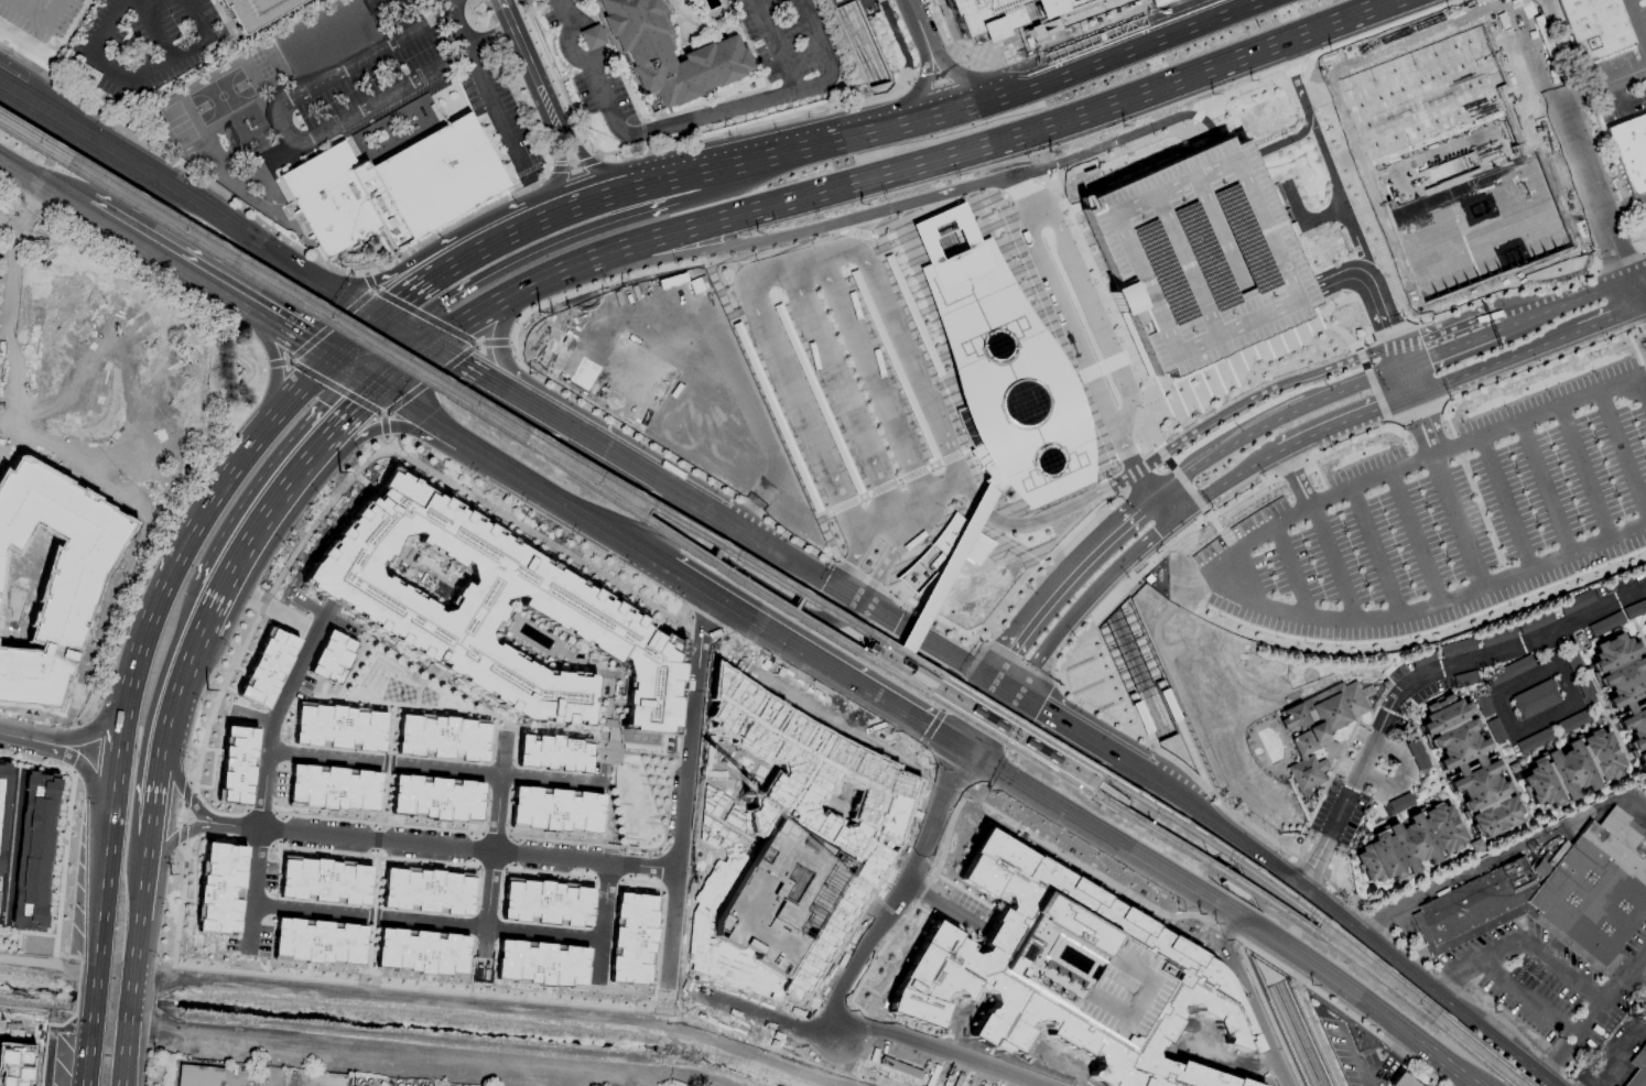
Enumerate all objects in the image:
road: (377, 1)
road: (445, 3)
building: (256, 11)
road: (36, 14)
road: (1046, 14)
building: (988, 15)
road: (916, 21)
road: (1637, 22)
building: (1593, 26)
road: (151, 28)
road: (1031, 28)
road: (457, 29)
road: (1048, 30)
road: (1376, 30)
road: (943, 34)
road: (898, 37)
building: (864, 40)
railway: (866, 42)
railway: (858, 44)
road: (775, 46)
railway: (854, 46)
building: (671, 57)
road: (528, 63)
road: (1295, 69)
road: (139, 73)
road: (960, 73)
road: (941, 74)
road: (910, 77)
road: (1601, 84)
road: (921, 85)
road: (1243, 88)
road: (11, 89)
park: (220, 95)
road: (986, 99)
road: (1061, 105)
road: (1306, 110)
road: (497, 116)
road: (1196, 116)
road: (695, 119)
park: (178, 124)
road: (754, 127)
road: (294, 141)
road: (1114, 141)
road: (1572, 141)
building: (1631, 150)
road: (1117, 153)
road: (959, 155)
building: (1450, 161)
road: (587, 163)
road: (571, 166)
road: (177, 169)
road: (559, 171)
road: (671, 181)
road: (694, 185)
building: (393, 186)
road: (42, 187)
road: (1022, 188)
road: (173, 193)
road: (938, 195)
road: (1340, 195)
road: (1095, 198)
road: (658, 205)
road: (1623, 207)
road: (938, 208)
road: (1073, 208)
road: (8, 221)
road: (457, 221)
road: (537, 224)
road: (859, 229)
railway: (954, 229)
road: (859, 234)
railway: (953, 236)
railway: (932, 237)
railway: (940, 241)
road: (11, 248)
road: (717, 248)
road: (837, 251)
road: (1644, 252)
building: (1193, 256)
parking garage: (1193, 256)
road: (517, 261)
road: (802, 261)
road: (1618, 261)
road: (173, 267)
road: (667, 269)
road: (1637, 274)
road: (389, 278)
road: (825, 278)
road: (368, 281)
road: (1367, 281)
road: (750, 289)
road: (412, 290)
road: (1502, 290)
road: (1590, 294)
road: (1637, 295)
road: (1087, 296)
traffic signals: (403, 297)
road: (350, 301)
road: (882, 301)
road: (1111, 303)
road: (1644, 305)
road: (1109, 307)
traffic signals: (429, 312)
road: (1309, 313)
road: (474, 314)
road: (809, 314)
road: (1080, 316)
road: (1470, 316)
road: (423, 317)
road: (1611, 318)
road: (1526, 319)
road: (388, 324)
road: (329, 325)
road: (1050, 327)
road: (1643, 328)
road: (1389, 329)
road: (348, 337)
road: (414, 338)
road: (291, 339)
road: (922, 341)
road: (1362, 341)
traffic signals: (299, 344)
road: (494, 344)
road: (856, 348)
road: (1451, 348)
road: (1250, 351)
road: (778, 355)
road: (1397, 356)
road: (386, 357)
road: (278, 361)
road: (399, 365)
road: (1087, 365)
traffic signals: (461, 366)
road: (500, 366)
road: (1492, 366)
building: (1001, 367)
road: (1101, 367)
road: (1542, 367)
traffic signals: (1403, 368)
road: (346, 370)
road: (467, 370)
road: (274, 372)
road: (429, 379)
road: (1072, 380)
road: (1373, 383)
road: (1404, 383)
road: (841, 384)
road: (334, 387)
road: (293, 391)
traffic signals: (1406, 400)
road: (1241, 401)
traffic signals: (353, 402)
road: (1263, 406)
road: (1414, 406)
road: (408, 408)
road: (1433, 409)
road: (770, 411)
road: (534, 412)
road: (934, 416)
road: (1406, 419)
road: (334, 420)
road: (1342, 421)
road: (382, 425)
road: (960, 426)
road: (1261, 426)
road: (371, 430)
road: (1410, 431)
road: (863, 433)
road: (1429, 434)
road: (1347, 443)
road: (902, 449)
road: (1130, 450)
road: (1623, 453)
road: (670, 454)
road: (824, 458)
road: (1096, 466)
road: (1288, 467)
road: (1585, 473)
road: (1295, 477)
road: (1181, 479)
road: (891, 482)
road: (534, 486)
road: (944, 487)
road: (1104, 488)
road: (1545, 488)
road: (882, 501)
road: (973, 502)
road: (1504, 503)
road: (950, 508)
road: (1020, 510)
road: (697, 511)
parking lot: (1445, 519)
road: (1461, 519)
road: (253, 520)
road: (1025, 522)
road: (1071, 523)
road: (1073, 528)
road: (1416, 536)
road: (1235, 550)
road: (889, 551)
building: (943, 551)
road: (1377, 551)
road: (640, 552)
road: (1127, 556)
road: (1333, 562)
road: (1150, 563)
road: (176, 565)
road: (847, 566)
road: (743, 572)
road: (1290, 572)
building: (53, 574)
road: (862, 576)
railway: (777, 578)
building: (23, 586)
road: (934, 589)
road: (1052, 591)
traffic signals: (834, 594)
railway: (761, 596)
road: (1009, 599)
road: (845, 600)
building: (1575, 601)
building: (487, 607)
traffic signals: (857, 607)
building: (1634, 607)
road: (206, 611)
road: (933, 621)
building: (1534, 621)
building: (1604, 623)
building: (1499, 634)
building: (1457, 647)
road: (922, 648)
building: (332, 656)
road: (813, 659)
road: (1021, 663)
road: (187, 666)
road: (903, 666)
building: (267, 667)
road: (897, 667)
road: (901, 667)
building: (1514, 667)
road: (899, 670)
road: (1558, 670)
railway: (1144, 671)
road: (291, 675)
railway: (1160, 675)
railway: (1134, 677)
road: (1420, 677)
railway: (935, 678)
road: (1526, 680)
road: (931, 687)
railway: (1134, 687)
building: (1624, 687)
traffic signals: (988, 689)
road: (951, 695)
road: (1000, 696)
building: (1535, 698)
traffic signals: (1012, 704)
building: (1483, 705)
road: (1505, 714)
building: (984, 717)
road: (1545, 720)
road: (977, 721)
building: (1571, 721)
building: (339, 727)
building: (1317, 727)
road: (989, 728)
building: (1495, 729)
road: (834, 731)
road: (23, 736)
building: (443, 737)
road: (87, 739)
building: (1534, 740)
road: (169, 742)
building: (1038, 749)
building: (553, 752)
traffic signals: (967, 753)
road: (1093, 753)
building: (1417, 754)
road: (382, 758)
road: (117, 764)
building: (236, 764)
building: (1469, 764)
road: (85, 765)
road: (1183, 767)
building: (1571, 769)
road: (955, 774)
road: (546, 779)
road: (1403, 779)
building: (333, 788)
building: (436, 797)
road: (494, 800)
flagpole: (1318, 801)
building: (1399, 802)
road: (1122, 805)
building: (2, 808)
building: (554, 808)
road: (205, 811)
road: (6, 818)
road: (316, 829)
building: (1409, 844)
road: (1239, 845)
building: (35, 849)
road: (676, 854)
road: (1502, 856)
road: (1313, 869)
building: (324, 881)
building: (219, 888)
building: (426, 891)
building: (1592, 897)
building: (546, 902)
building: (1475, 906)
road: (486, 911)
road: (1226, 911)
road: (882, 914)
road: (672, 920)
road: (420, 922)
road: (248, 927)
road: (142, 935)
building: (631, 938)
road: (1522, 938)
building: (318, 942)
road: (98, 946)
building: (421, 952)
building: (1149, 957)
road: (597, 960)
building: (1050, 963)
building: (541, 964)
road: (1637, 979)
parking lot: (1552, 982)
road: (1448, 984)
road: (1428, 986)
road: (1259, 996)
road: (1247, 999)
road: (1529, 1000)
road: (1339, 1007)
road: (1594, 1016)
railway: (1303, 1033)
road: (836, 1034)
railway: (1292, 1035)
road: (1616, 1051)
gas station: (1620, 1053)
building: (1639, 1060)
road: (1391, 1063)
building: (201, 1075)
building: (1636, 1079)
building: (1404, 1080)
road: (232, 1082)
road: (1592, 1084)

